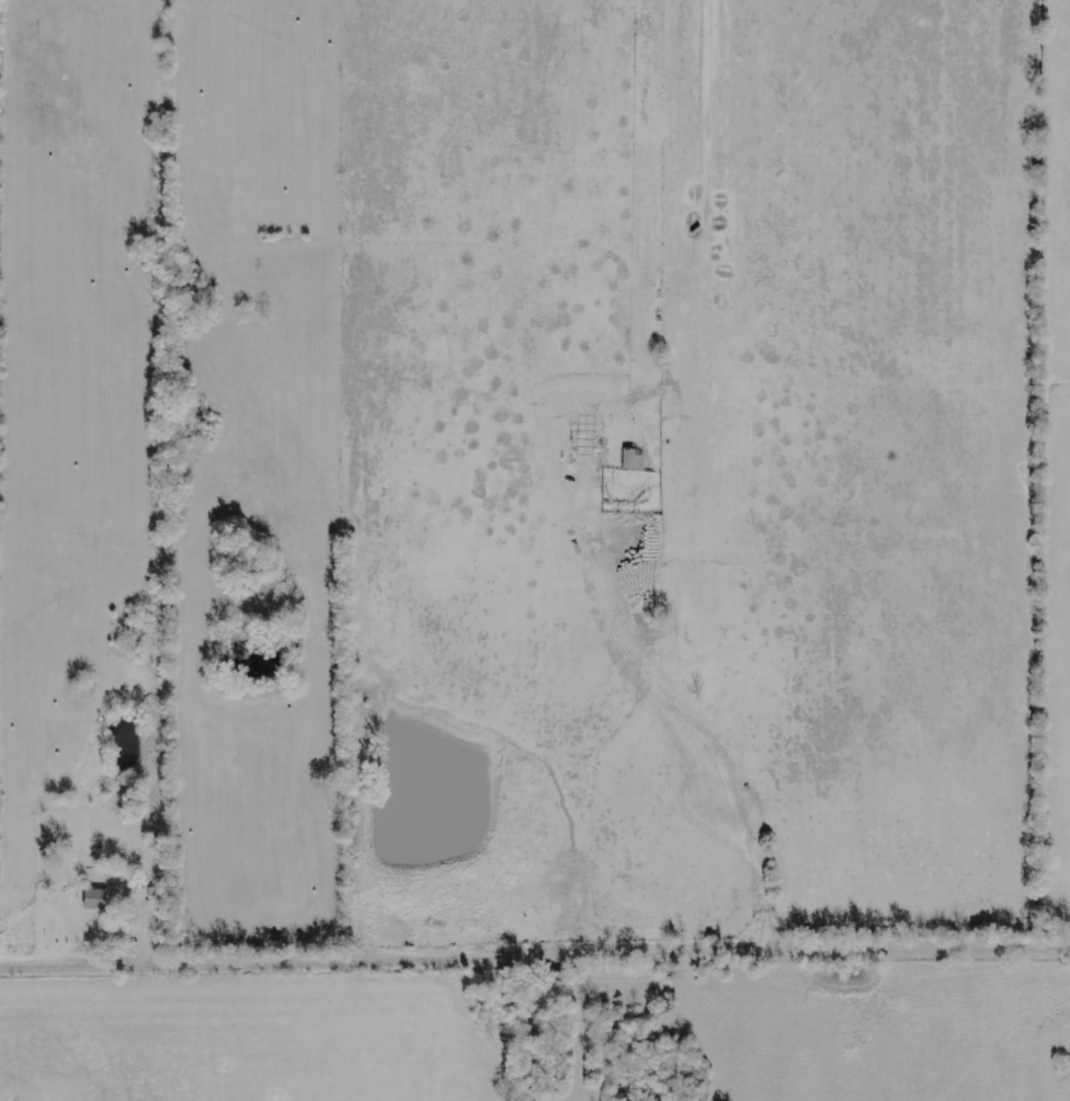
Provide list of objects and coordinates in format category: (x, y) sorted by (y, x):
building: (95, 898)
road: (535, 963)

